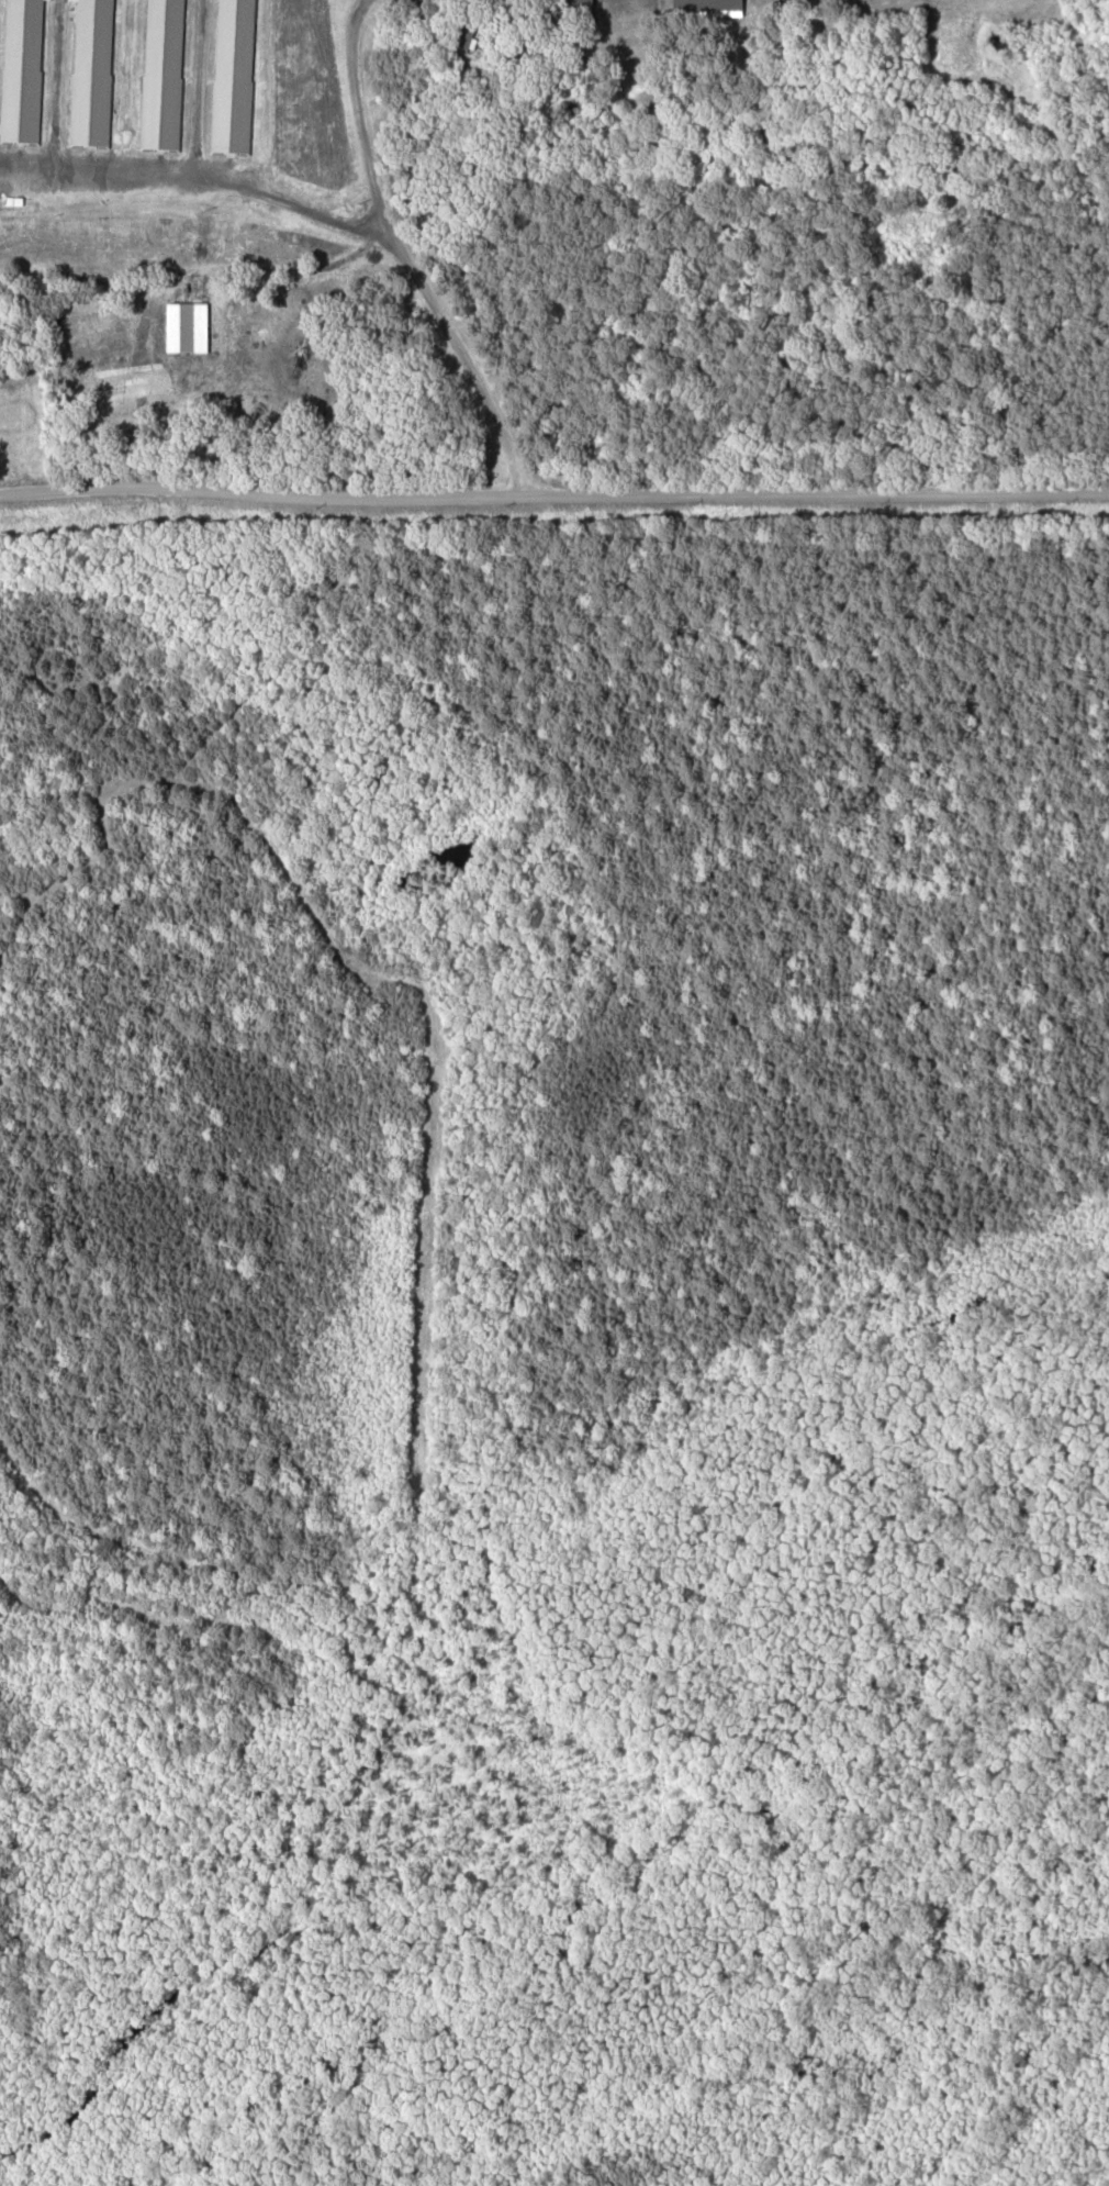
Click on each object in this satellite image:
building: (580, 2)
building: (710, 4)
road: (101, 342)
road: (554, 499)

